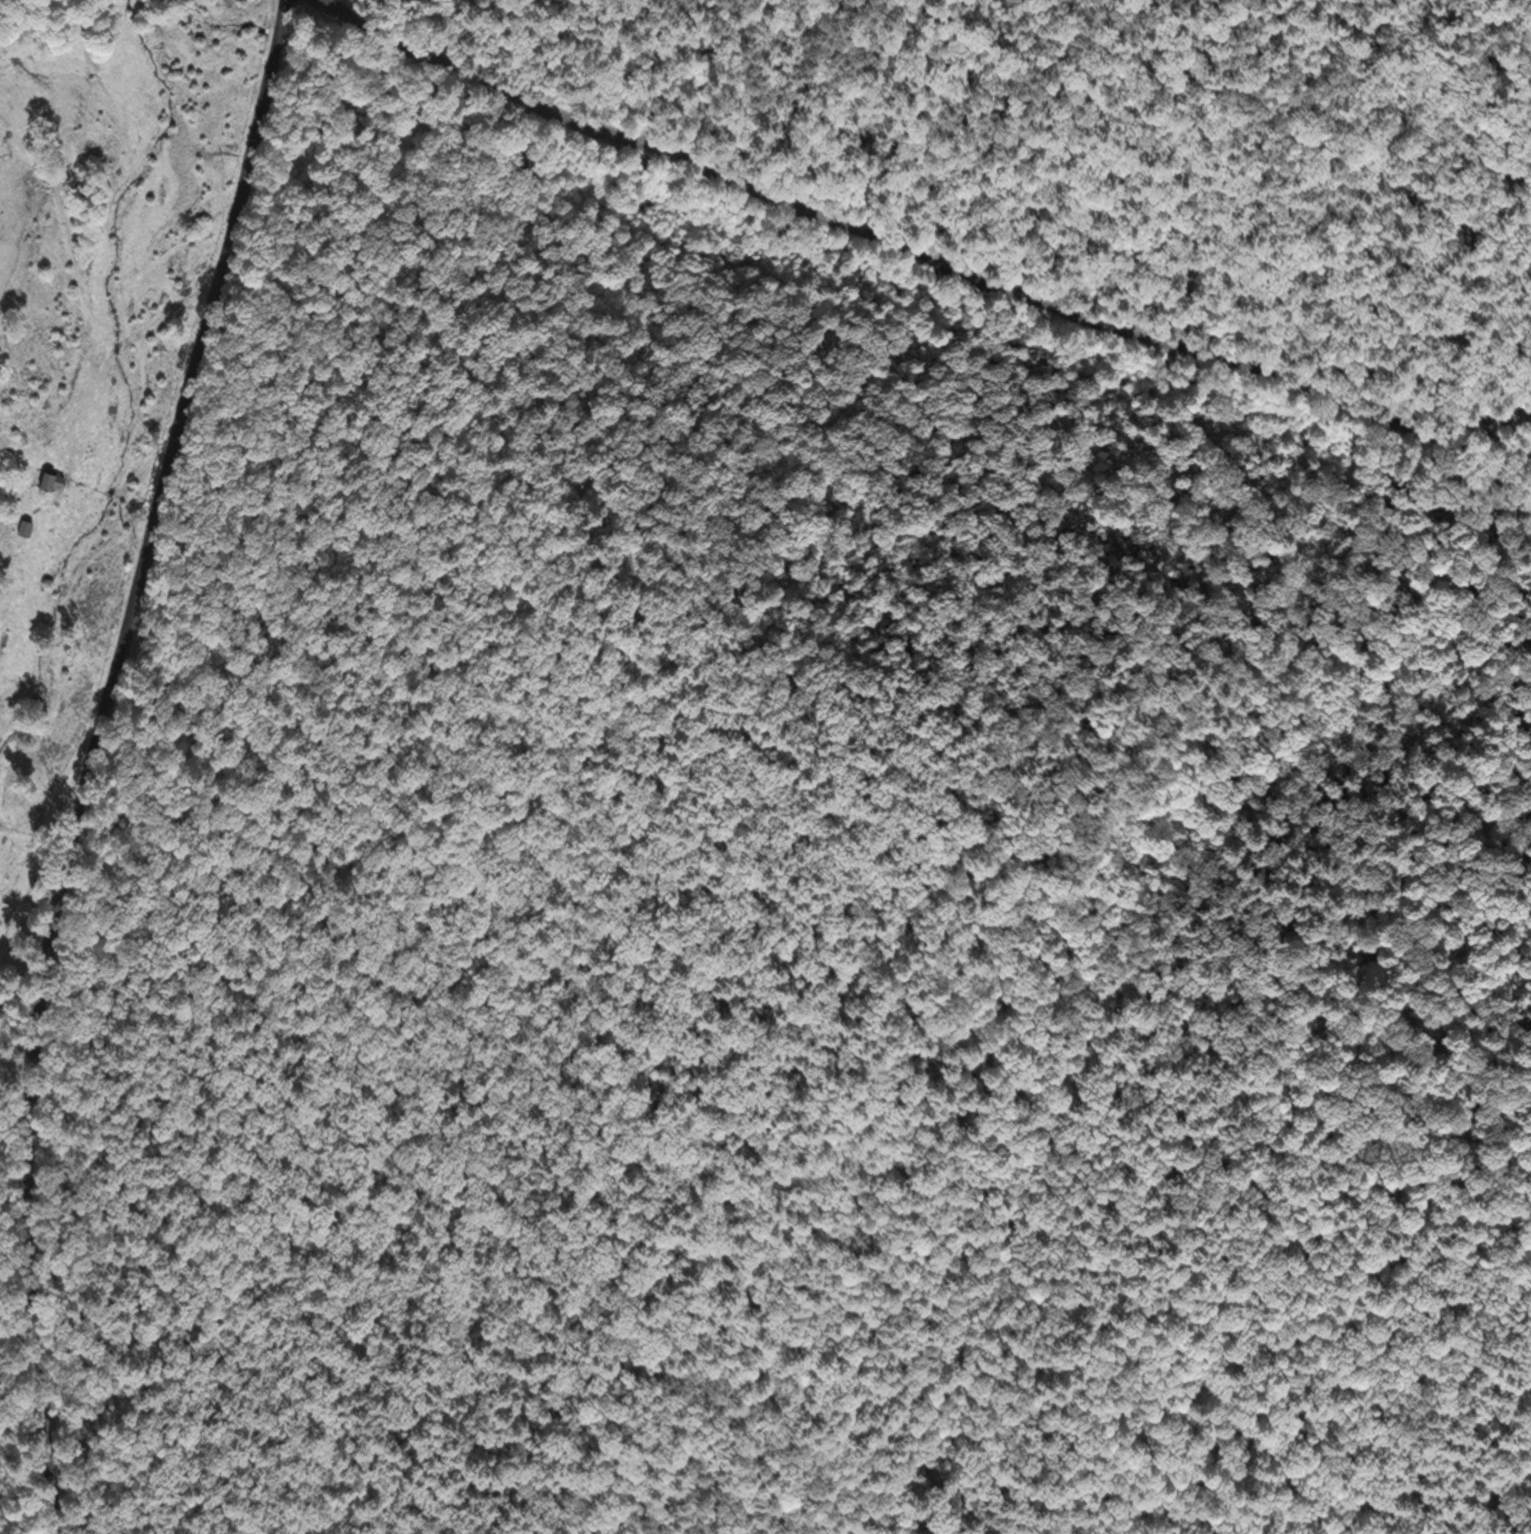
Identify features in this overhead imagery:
road: (918, 256)
road: (1511, 410)
building: (52, 478)
building: (26, 527)
road: (93, 759)

